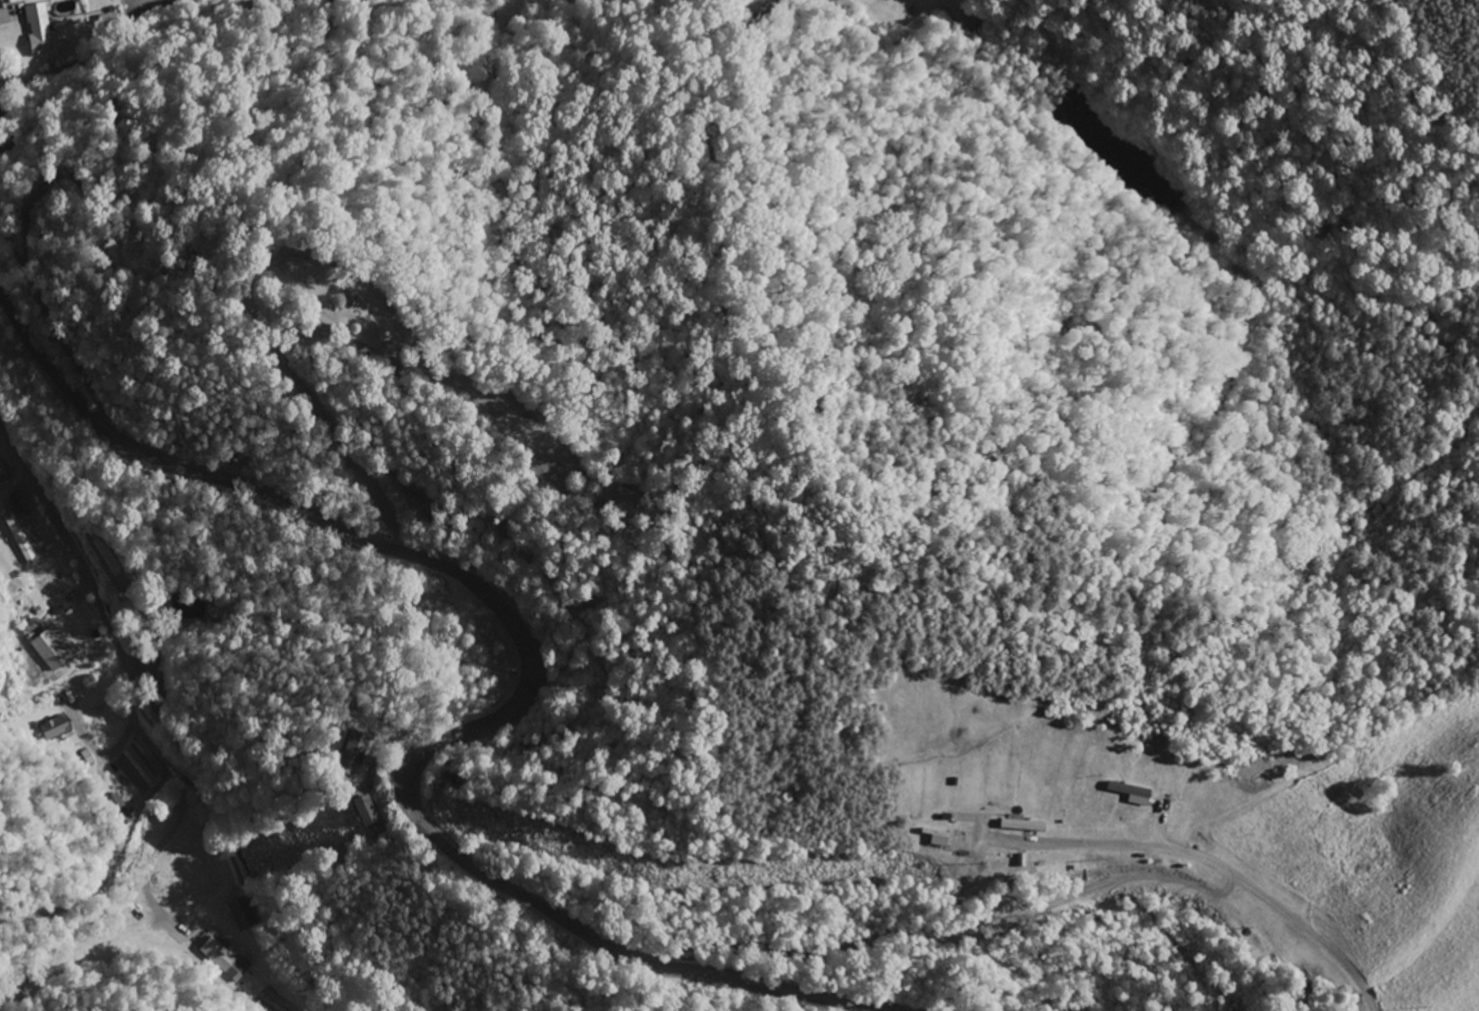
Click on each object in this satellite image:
building: (45, 33)
road: (109, 49)
building: (58, 649)
road: (530, 693)
building: (59, 728)
road: (143, 735)
building: (356, 749)
building: (1134, 793)
building: (368, 812)
building: (1027, 826)
road: (1207, 860)
building: (243, 914)
building: (229, 960)

